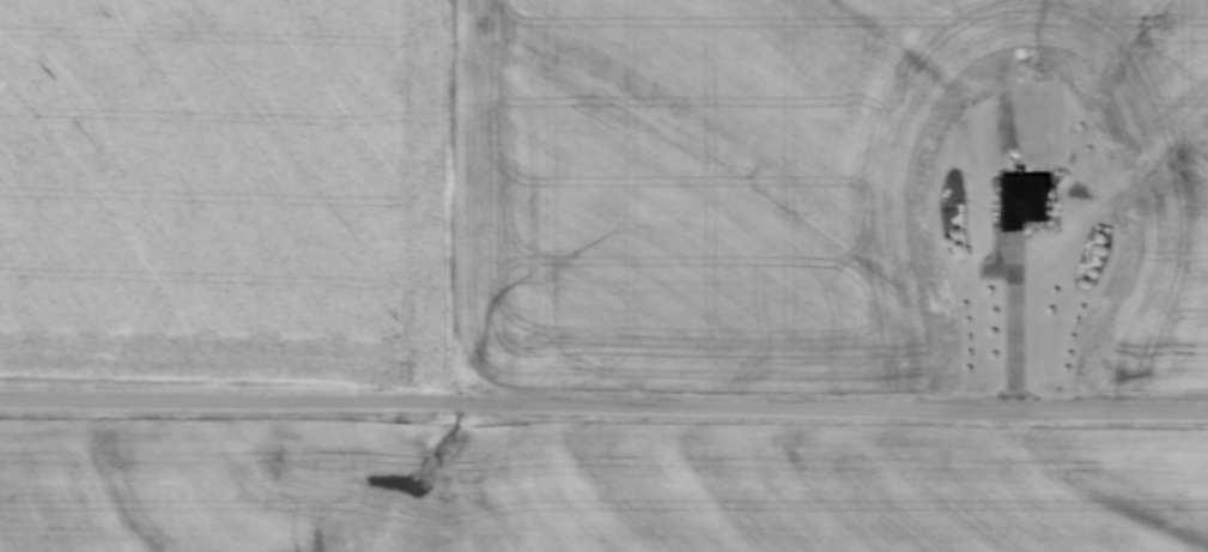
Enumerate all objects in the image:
building: (1031, 198)
road: (603, 407)

